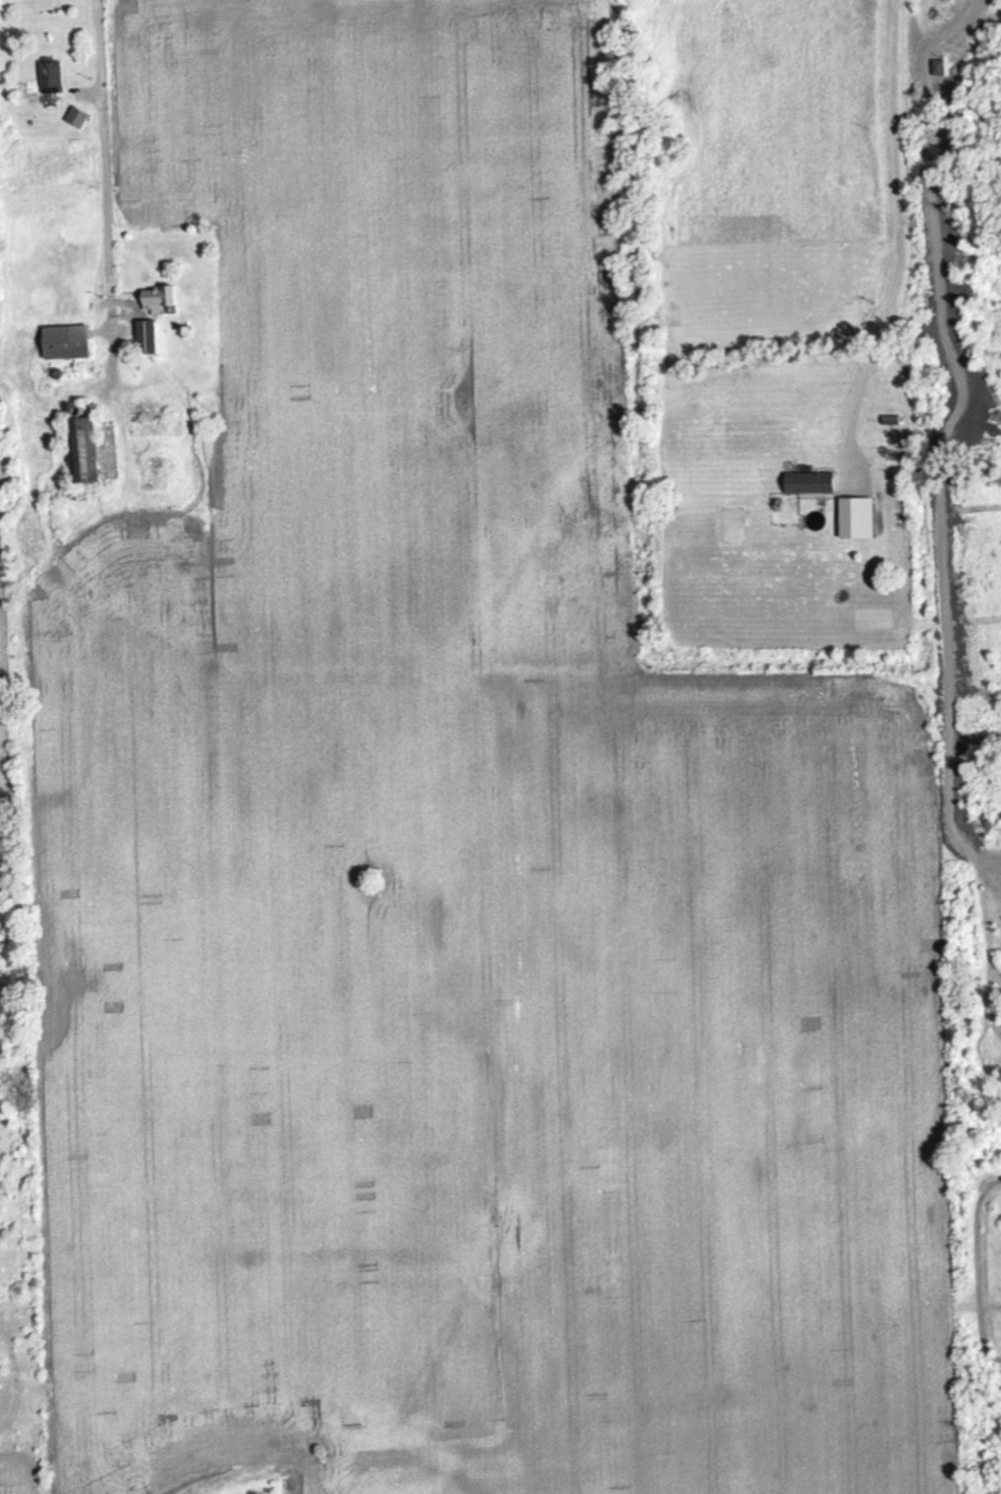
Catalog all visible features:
building: (939, 70)
building: (50, 74)
road: (112, 162)
road: (898, 229)
building: (157, 298)
building: (145, 337)
building: (65, 341)
building: (891, 422)
building: (80, 449)
building: (809, 482)

